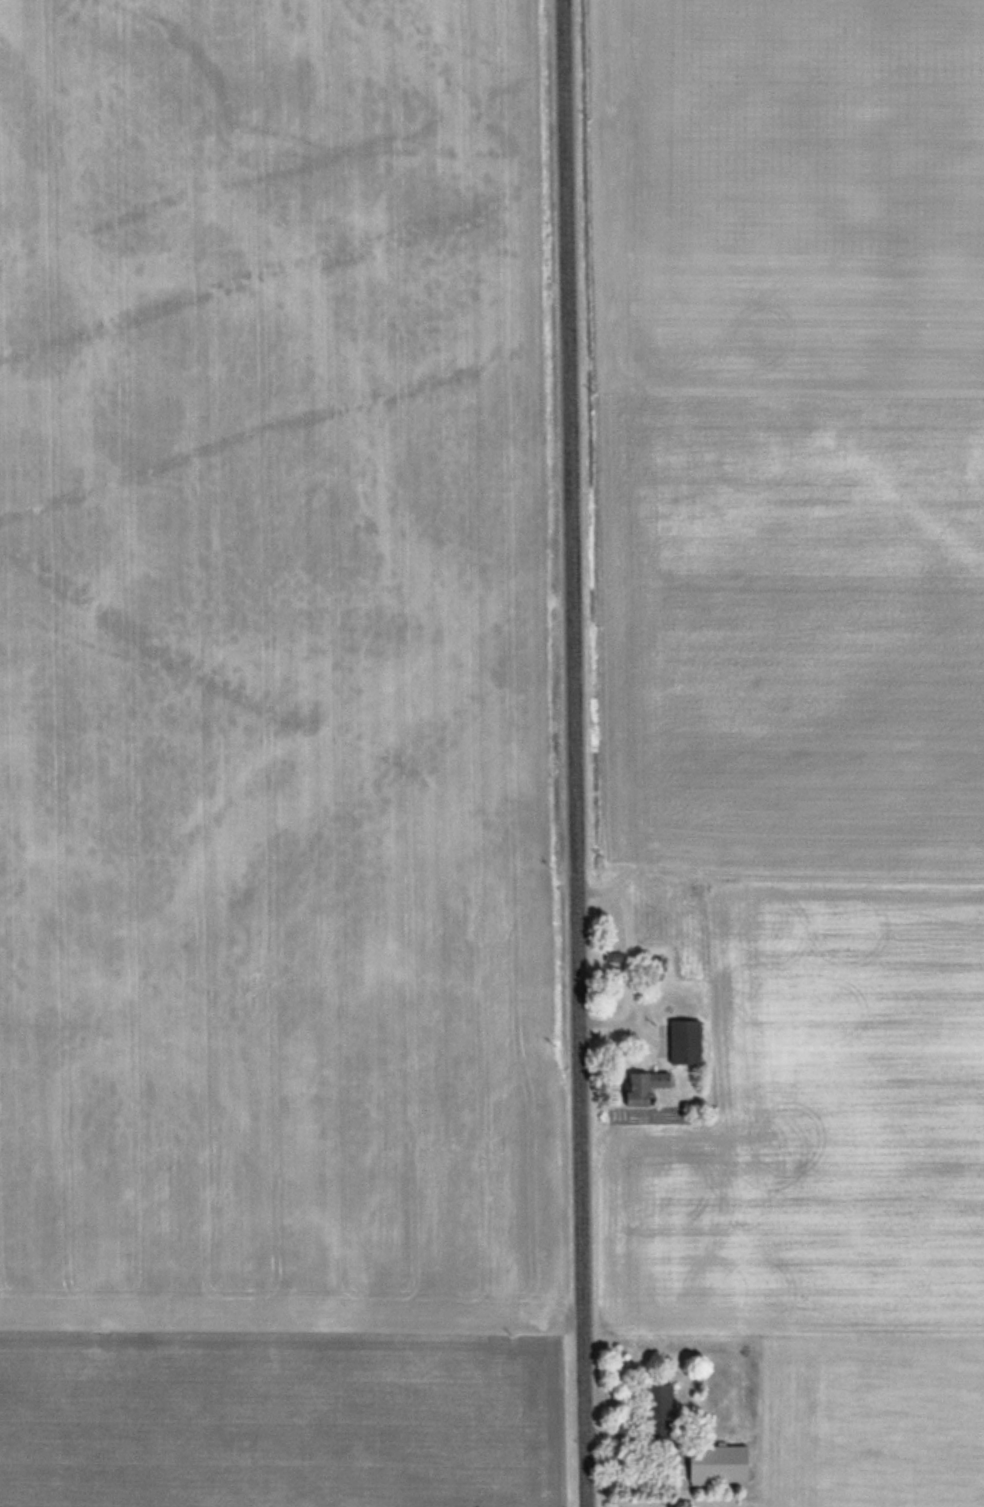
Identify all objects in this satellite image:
road: (578, 753)
building: (652, 909)
building: (683, 1041)
building: (642, 1086)
building: (657, 1413)

